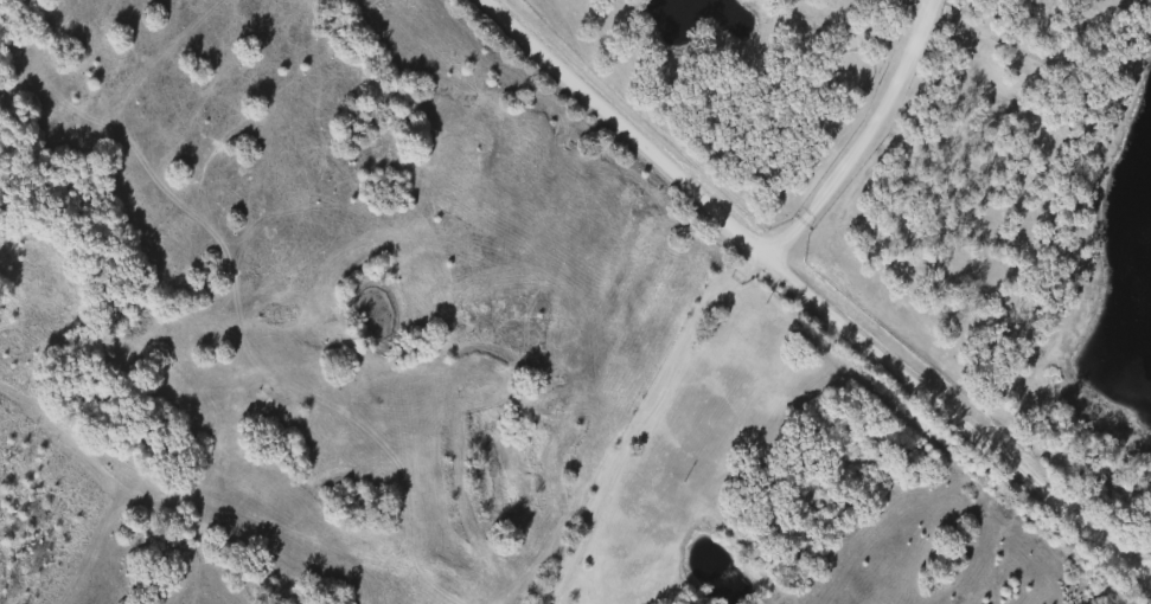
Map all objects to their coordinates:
building: (899, 4)
road: (621, 126)
road: (865, 139)
road: (645, 418)
road: (958, 418)

